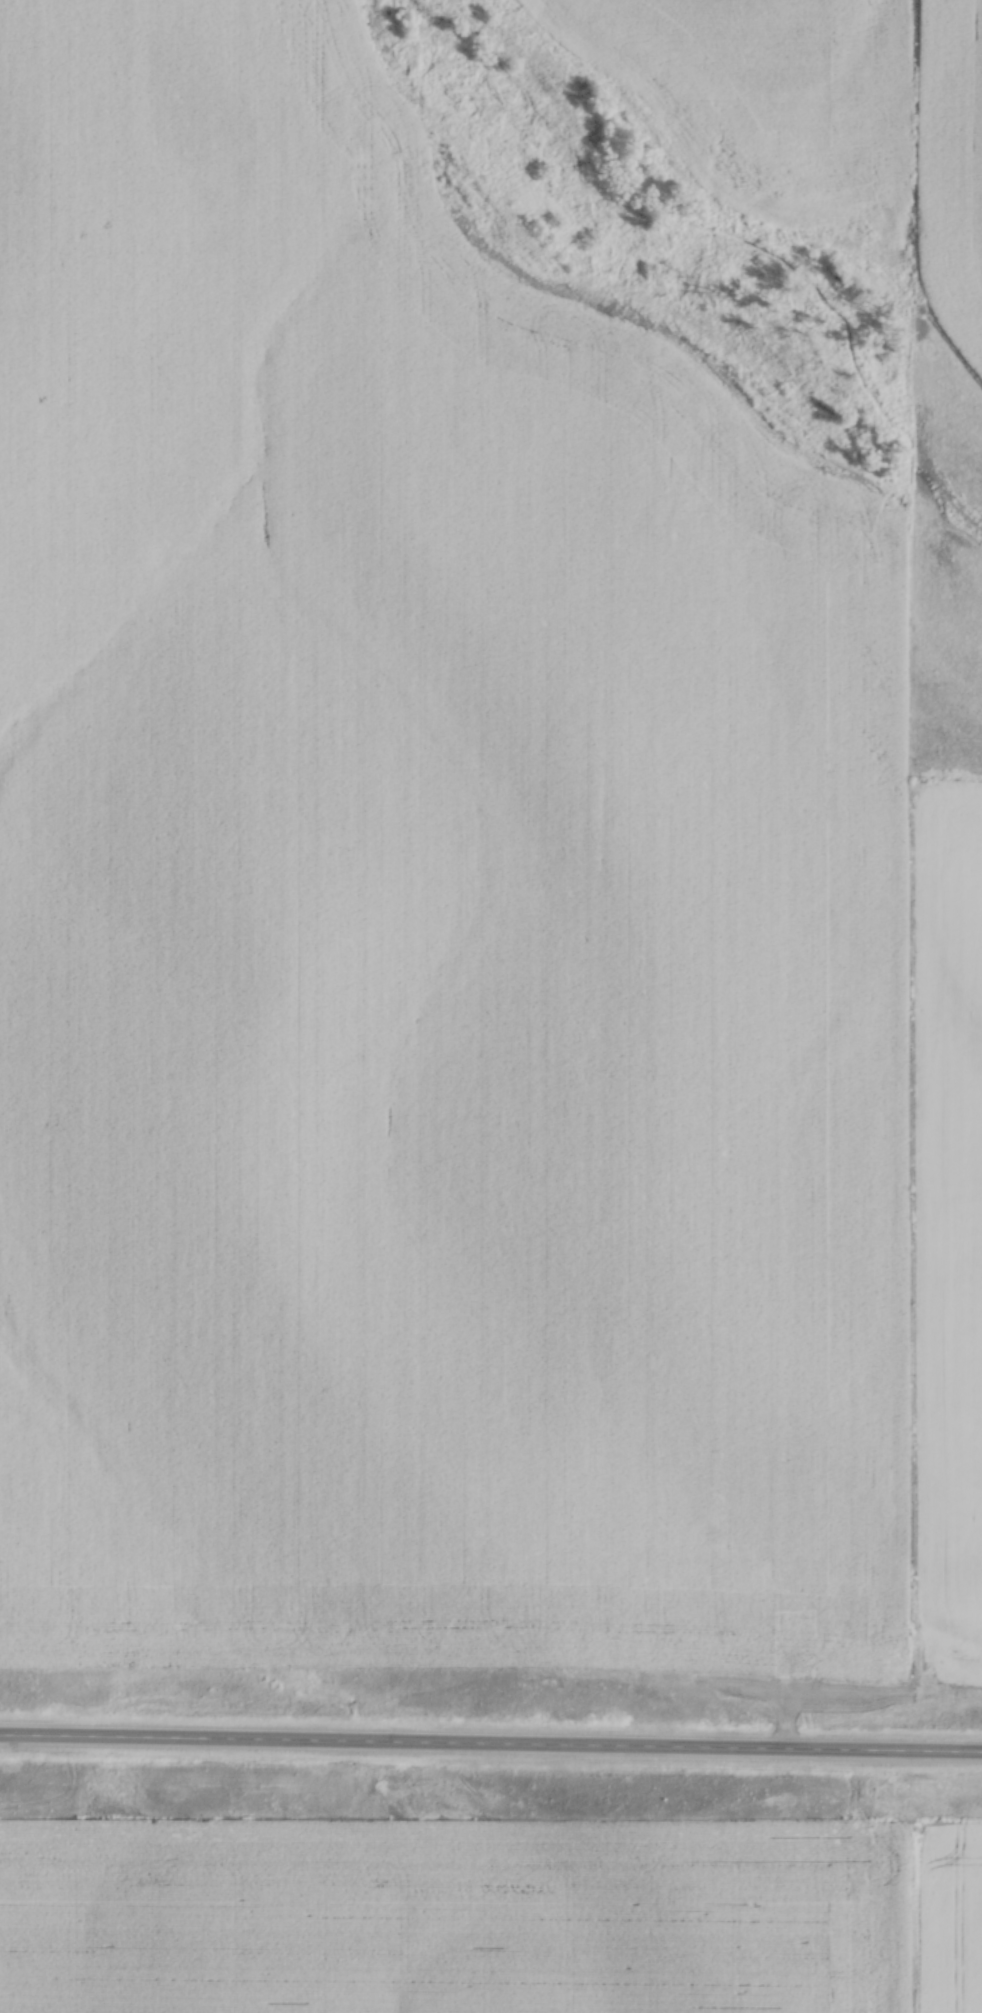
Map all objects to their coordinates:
road: (491, 1741)

